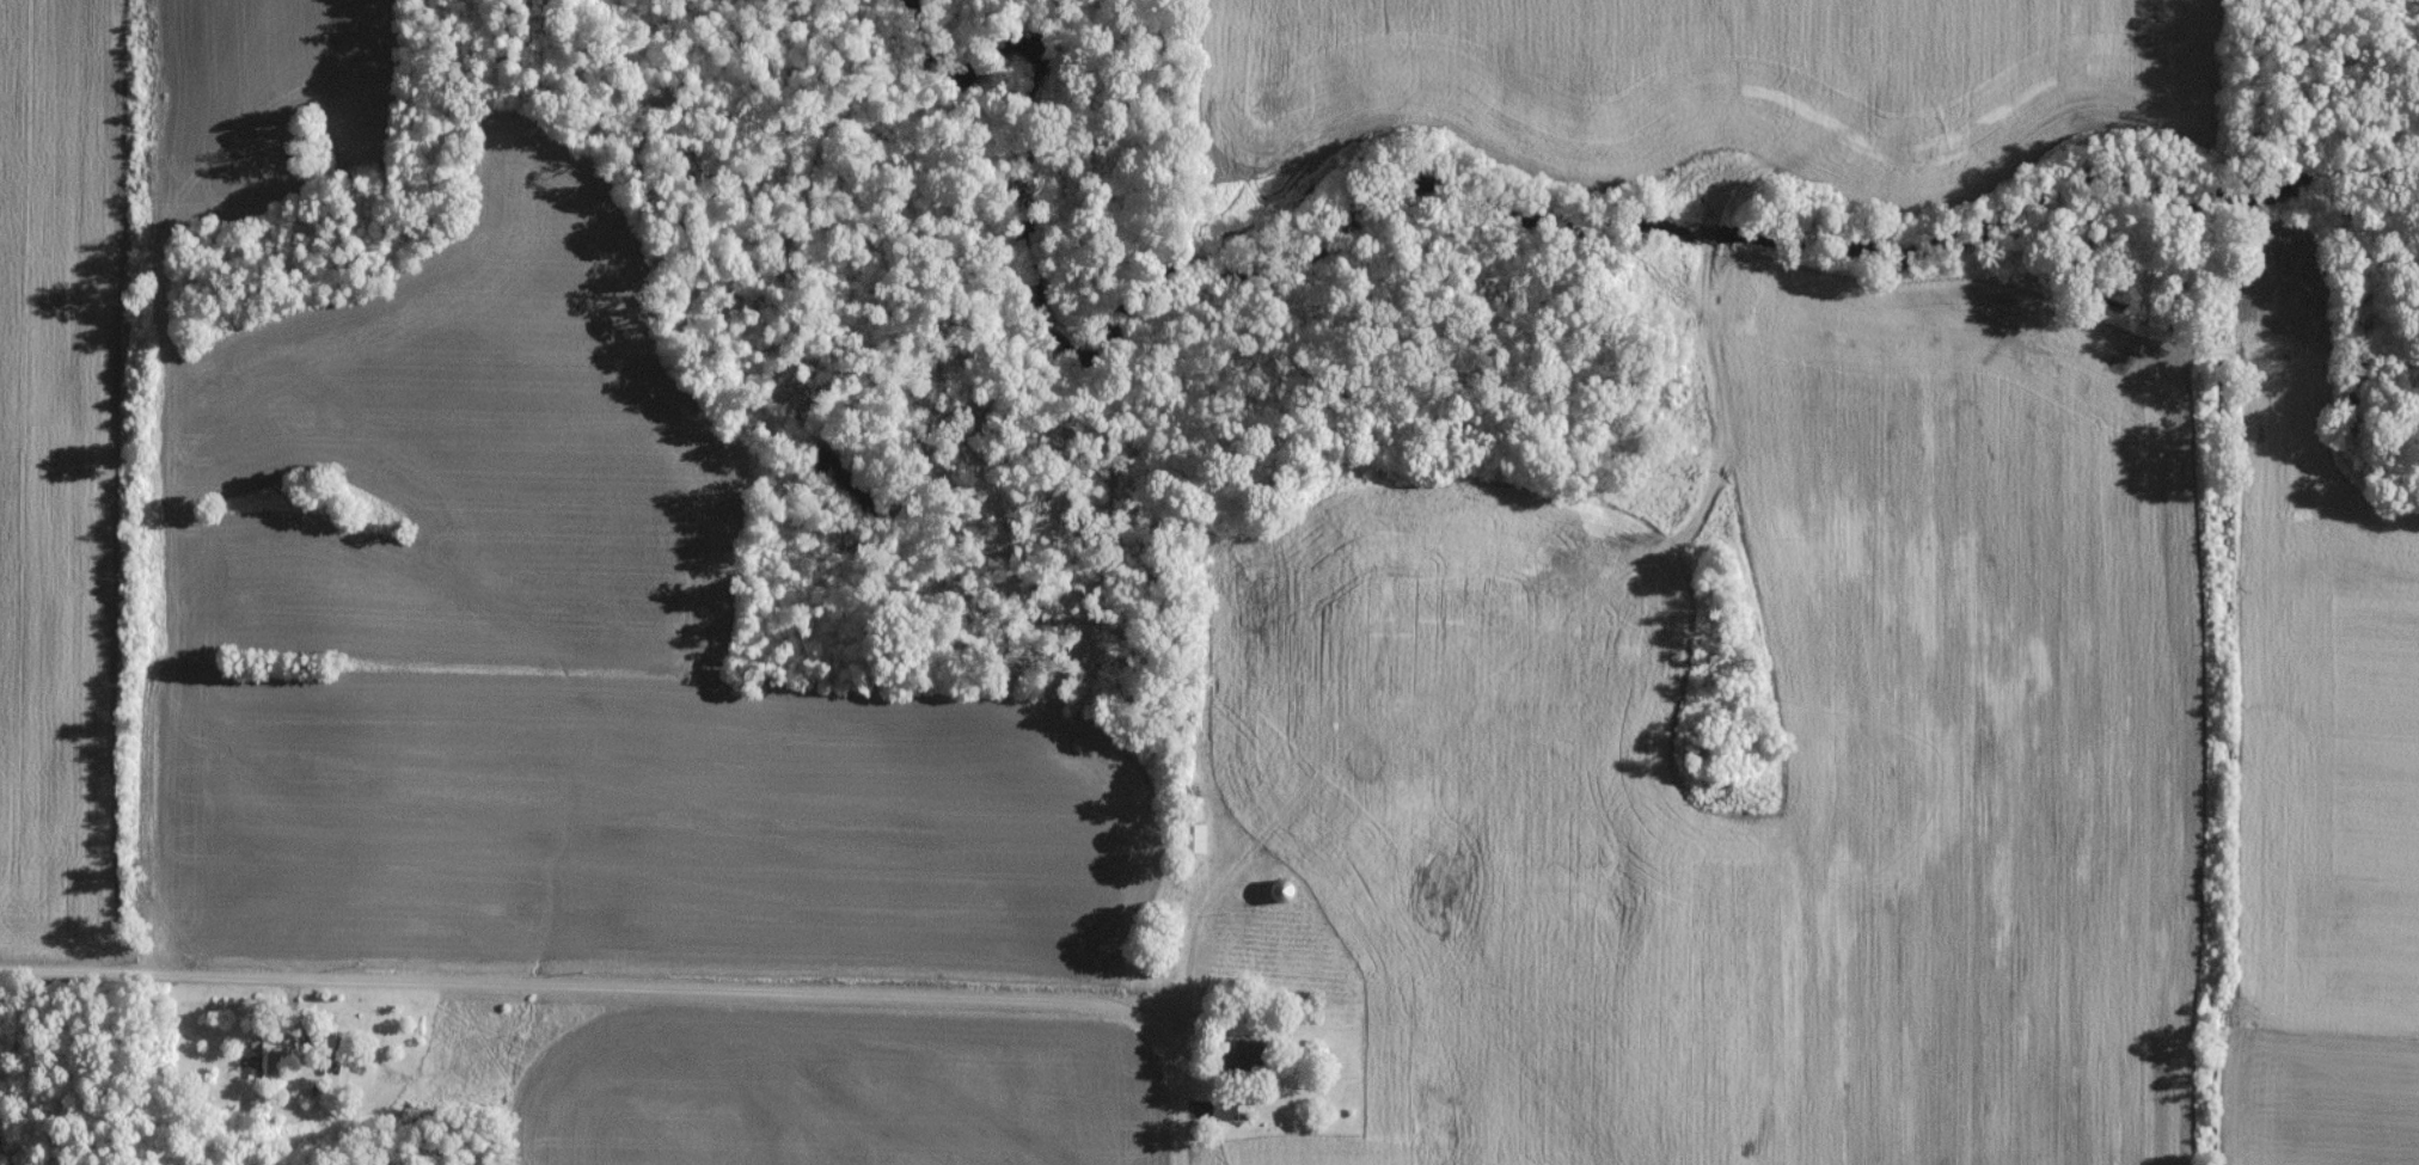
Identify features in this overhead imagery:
building: (1192, 845)
building: (1280, 897)
road: (1198, 927)
road: (618, 987)
building: (1241, 1060)
building: (264, 1063)
building: (1221, 1116)
road: (1184, 1132)

